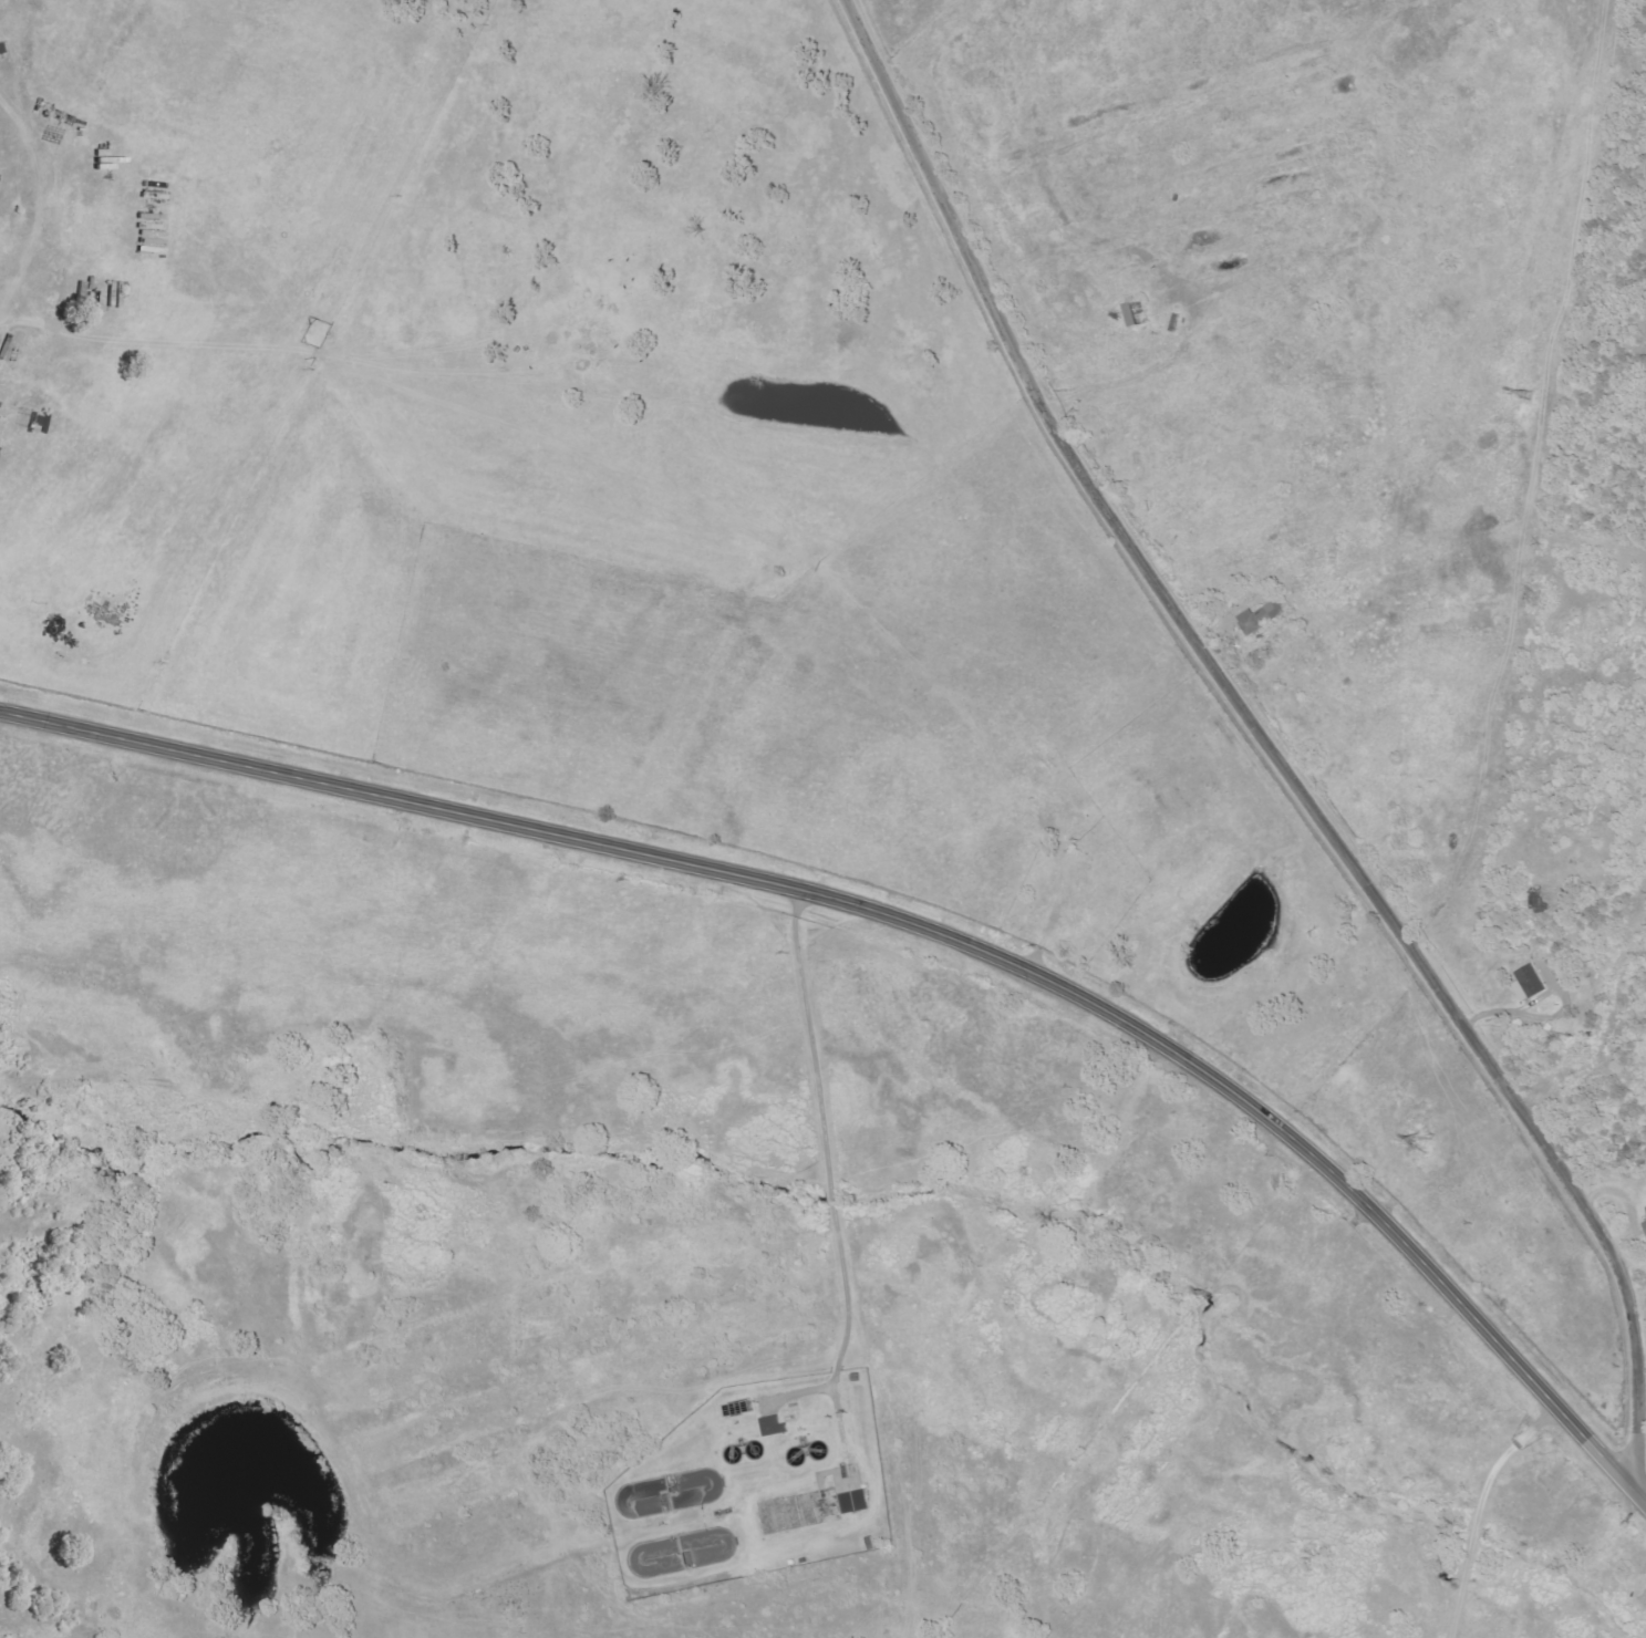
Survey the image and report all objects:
road: (39, 196)
power tower: (1525, 396)
road: (1267, 746)
road: (917, 927)
building: (1531, 983)
road: (1606, 1132)
road: (822, 1141)
power tower: (1420, 1144)
building: (1645, 1225)
road: (1638, 1300)
building: (775, 1427)
road: (1474, 1509)

